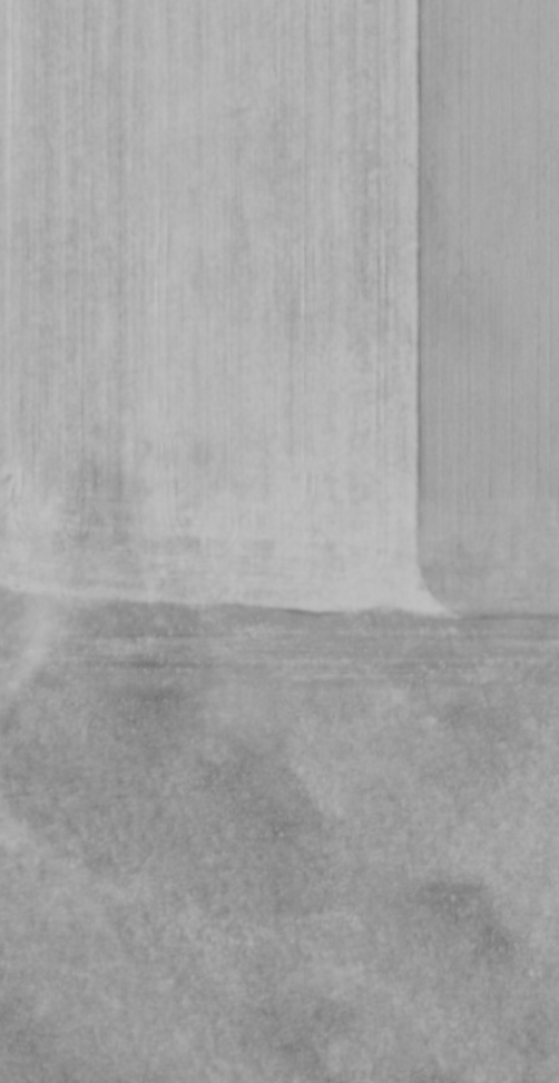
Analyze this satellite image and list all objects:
road: (278, 649)

